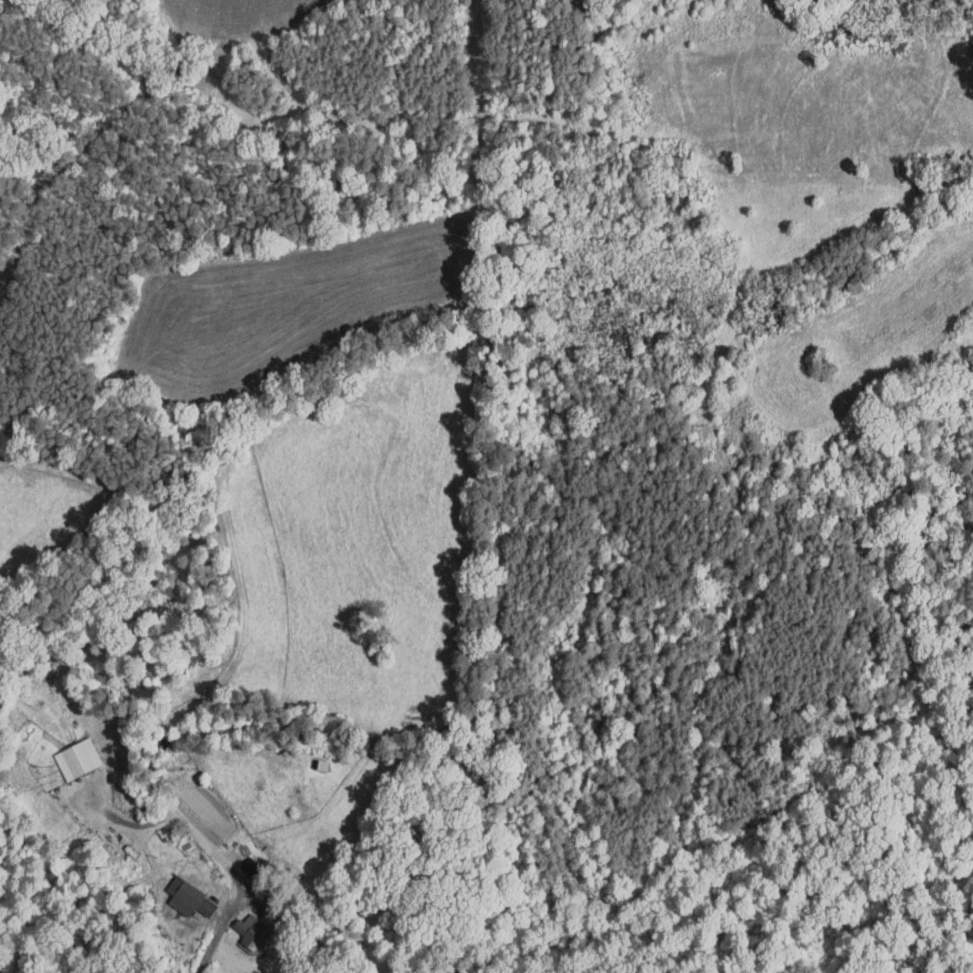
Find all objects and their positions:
road: (95, 279)
building: (64, 752)
road: (210, 846)
building: (173, 891)
road: (344, 900)
building: (239, 922)

